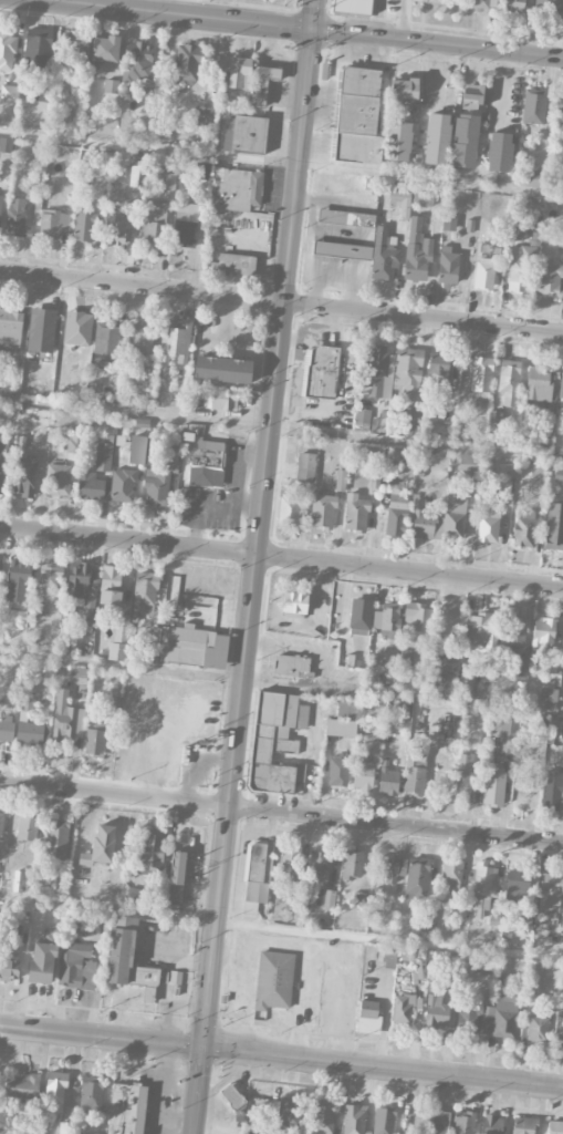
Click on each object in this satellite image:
building: (436, 0)
building: (270, 1)
building: (479, 3)
building: (515, 6)
building: (352, 7)
building: (548, 8)
road: (236, 10)
road: (183, 13)
traffic signals: (313, 29)
road: (437, 43)
building: (37, 49)
building: (104, 49)
building: (7, 50)
building: (72, 53)
building: (137, 61)
building: (187, 63)
building: (239, 73)
building: (262, 83)
building: (111, 86)
building: (404, 89)
building: (9, 93)
building: (473, 96)
building: (533, 106)
building: (560, 114)
building: (204, 116)
building: (357, 117)
building: (243, 135)
building: (436, 138)
building: (398, 141)
building: (465, 141)
building: (6, 145)
building: (499, 152)
road: (281, 163)
building: (201, 171)
building: (535, 178)
building: (169, 185)
building: (116, 188)
building: (239, 190)
building: (423, 198)
building: (0, 203)
building: (400, 203)
building: (17, 218)
building: (345, 218)
building: (155, 223)
building: (53, 224)
building: (83, 224)
building: (448, 224)
building: (185, 225)
building: (118, 227)
building: (517, 231)
building: (560, 241)
building: (341, 250)
building: (417, 252)
building: (383, 256)
road: (269, 257)
road: (66, 261)
building: (233, 265)
building: (447, 266)
building: (483, 274)
building: (517, 276)
building: (549, 279)
road: (242, 280)
road: (49, 292)
road: (281, 302)
road: (238, 313)
building: (41, 324)
building: (77, 328)
building: (10, 330)
building: (140, 338)
building: (175, 340)
building: (106, 341)
building: (437, 369)
building: (222, 370)
building: (407, 370)
building: (321, 372)
building: (374, 372)
building: (481, 378)
building: (509, 382)
building: (539, 384)
building: (561, 389)
building: (223, 400)
building: (362, 416)
building: (411, 421)
building: (377, 424)
road: (416, 444)
building: (137, 450)
building: (393, 453)
building: (103, 457)
building: (1, 462)
building: (206, 463)
building: (469, 465)
building: (305, 467)
building: (538, 473)
building: (24, 475)
building: (559, 475)
building: (58, 480)
building: (340, 481)
building: (122, 485)
building: (91, 487)
building: (156, 489)
building: (292, 508)
building: (322, 512)
building: (355, 513)
building: (522, 513)
building: (397, 514)
building: (442, 520)
road: (260, 524)
building: (554, 524)
building: (488, 526)
building: (523, 533)
road: (281, 557)
building: (19, 574)
building: (49, 577)
building: (81, 585)
building: (111, 585)
building: (145, 592)
building: (293, 604)
building: (361, 615)
building: (418, 617)
building: (388, 620)
building: (514, 630)
building: (480, 631)
building: (542, 632)
building: (117, 647)
building: (192, 648)
building: (390, 657)
road: (122, 666)
building: (444, 666)
building: (520, 666)
building: (292, 667)
road: (323, 669)
building: (80, 672)
building: (466, 681)
building: (3, 685)
building: (79, 697)
building: (548, 699)
building: (346, 709)
building: (66, 720)
building: (7, 728)
building: (341, 728)
building: (502, 728)
building: (31, 733)
building: (95, 739)
building: (275, 741)
building: (562, 755)
building: (337, 771)
building: (414, 773)
building: (363, 775)
building: (388, 782)
building: (466, 782)
building: (522, 782)
building: (493, 787)
building: (552, 791)
road: (281, 812)
building: (0, 828)
building: (27, 828)
road: (268, 832)
building: (56, 839)
building: (100, 846)
building: (152, 850)
building: (290, 860)
building: (352, 865)
road: (242, 866)
building: (320, 867)
building: (390, 867)
building: (451, 874)
building: (177, 876)
building: (257, 877)
building: (417, 877)
building: (20, 882)
building: (517, 886)
building: (482, 888)
building: (295, 891)
building: (550, 891)
building: (134, 896)
building: (324, 898)
building: (460, 909)
building: (496, 914)
road: (174, 916)
building: (525, 918)
building: (426, 921)
building: (559, 930)
road: (233, 938)
road: (389, 939)
road: (326, 948)
building: (125, 956)
building: (387, 957)
building: (43, 958)
building: (484, 962)
building: (75, 965)
building: (175, 977)
building: (271, 983)
building: (164, 988)
building: (562, 990)
road: (303, 1001)
building: (403, 1010)
building: (436, 1011)
building: (473, 1014)
building: (504, 1016)
building: (368, 1017)
building: (538, 1028)
building: (562, 1030)
road: (102, 1035)
traffic signals: (204, 1048)
road: (383, 1066)
building: (22, 1086)
road: (198, 1091)
building: (55, 1092)
building: (90, 1095)
building: (233, 1101)
building: (126, 1110)
building: (289, 1113)
building: (323, 1117)
building: (354, 1118)
building: (438, 1123)
building: (463, 1123)
building: (493, 1124)
building: (523, 1125)
building: (65, 1127)
building: (554, 1127)
building: (37, 1133)

